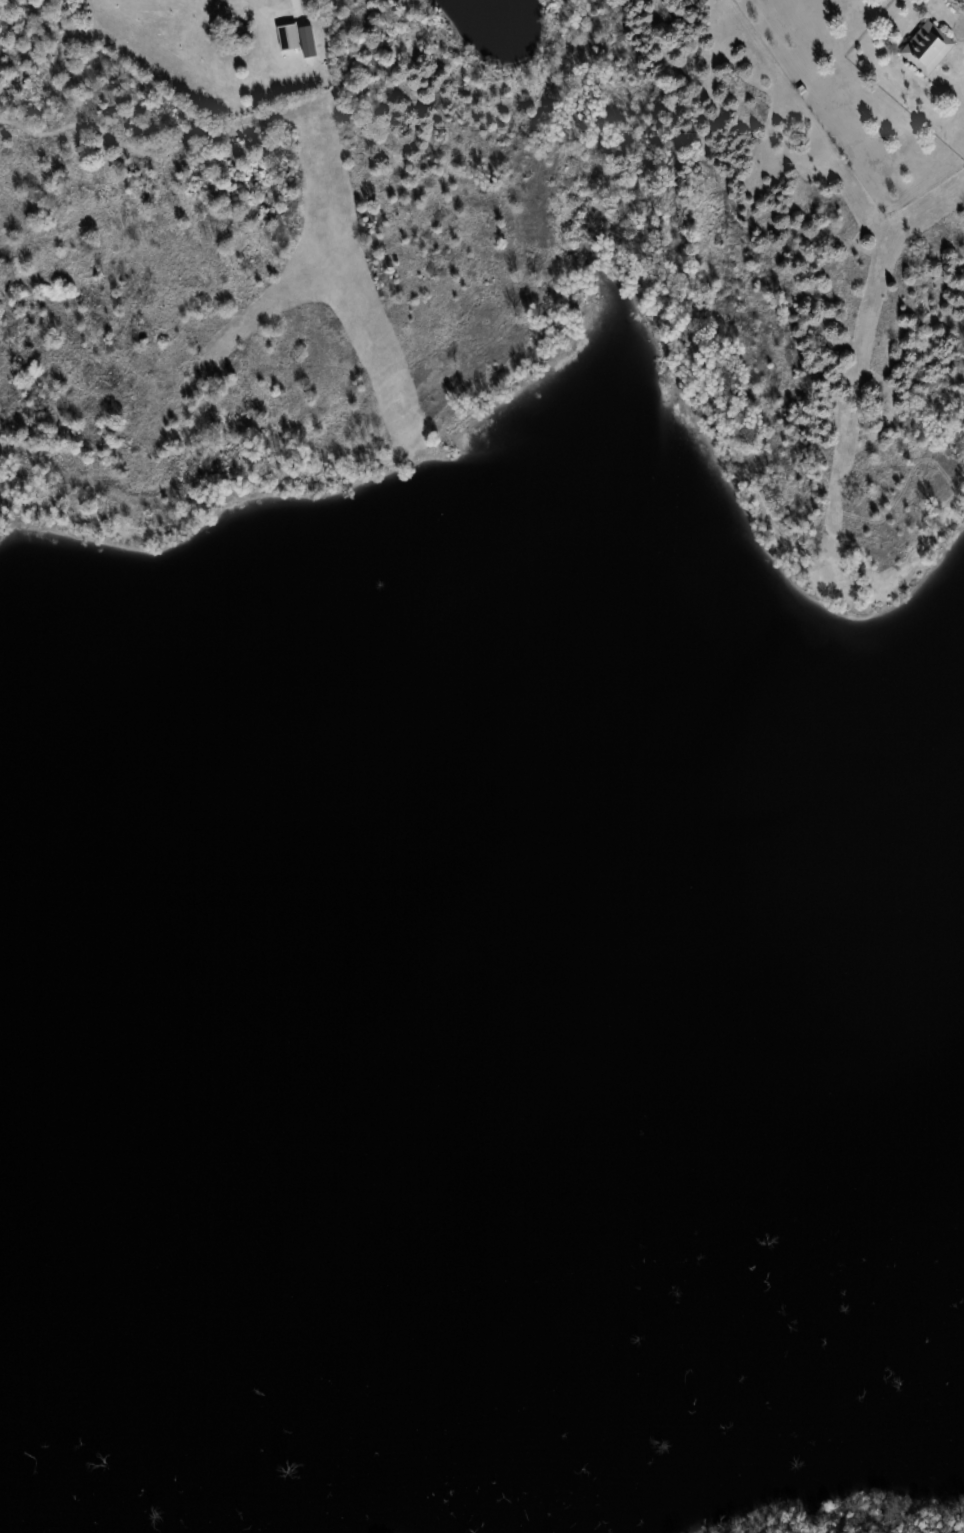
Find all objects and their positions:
parking lot: (956, 24)
road: (253, 25)
building: (243, 32)
building: (282, 32)
building: (922, 42)

